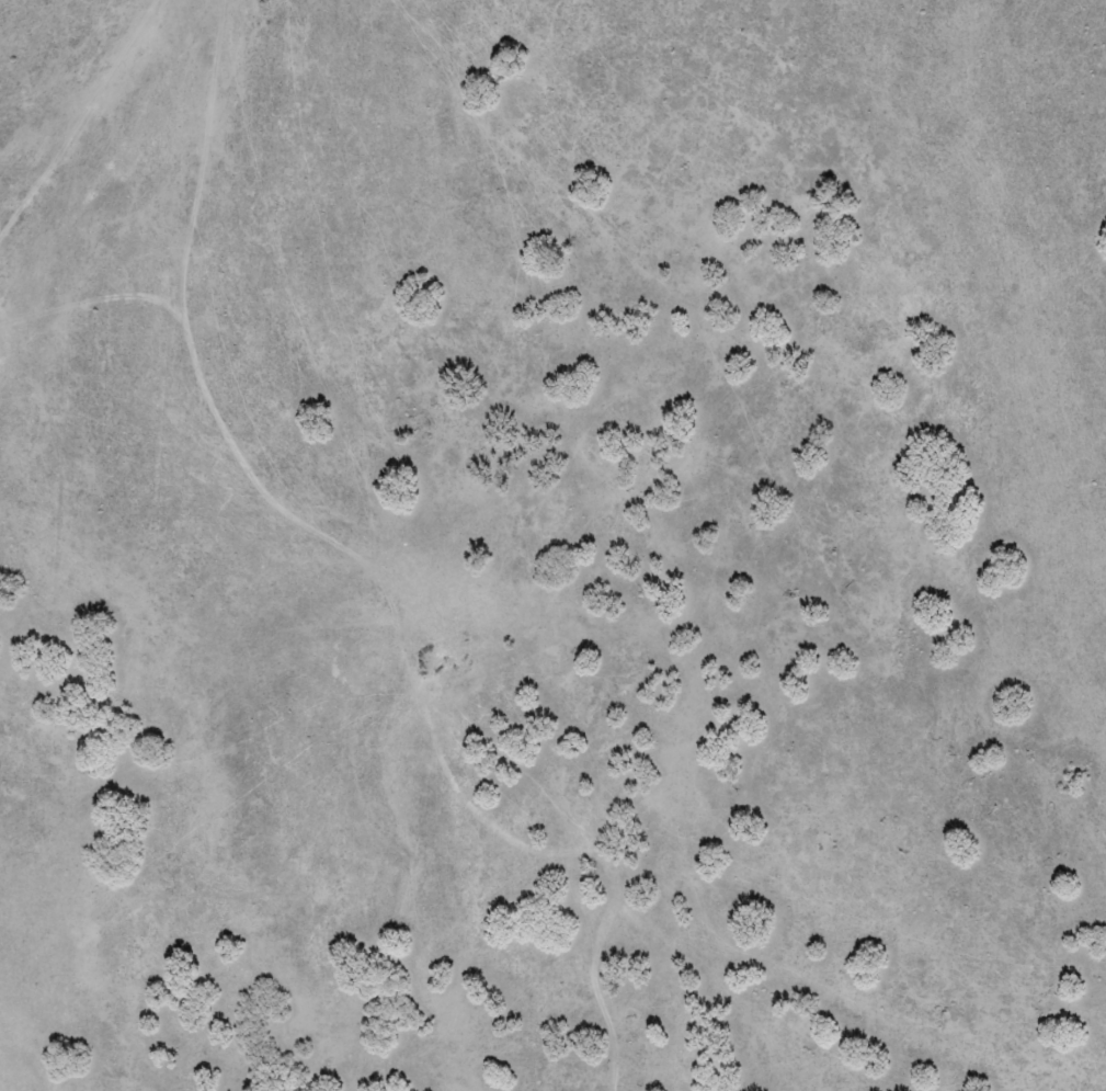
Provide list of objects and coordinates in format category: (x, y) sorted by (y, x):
road: (68, 105)

